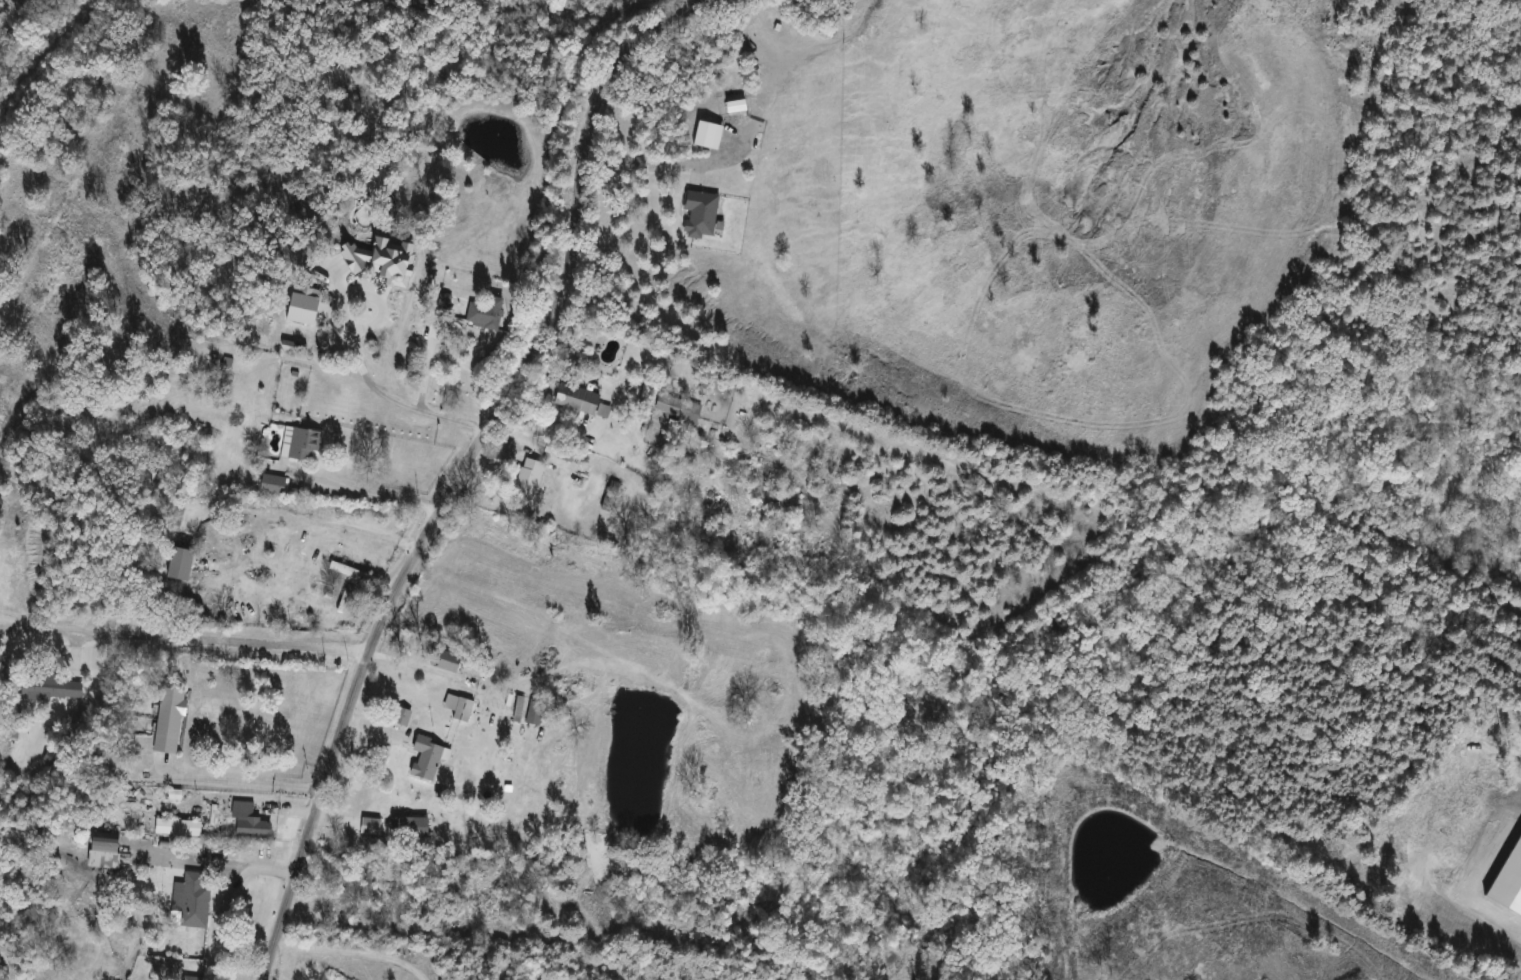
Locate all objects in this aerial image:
road: (747, 126)
building: (706, 134)
building: (699, 213)
building: (396, 236)
building: (442, 301)
building: (481, 315)
building: (575, 398)
road: (420, 399)
building: (676, 407)
building: (602, 411)
building: (298, 444)
road: (462, 466)
building: (527, 478)
building: (270, 485)
road: (351, 489)
building: (607, 498)
building: (178, 563)
building: (349, 572)
road: (183, 640)
building: (443, 660)
building: (50, 687)
building: (457, 706)
building: (511, 707)
building: (533, 711)
building: (400, 715)
building: (168, 719)
building: (425, 757)
road: (239, 777)
building: (248, 821)
building: (176, 826)
building: (103, 842)
road: (226, 857)
building: (373, 876)
building: (458, 880)
building: (190, 900)
road: (354, 947)
building: (190, 978)

